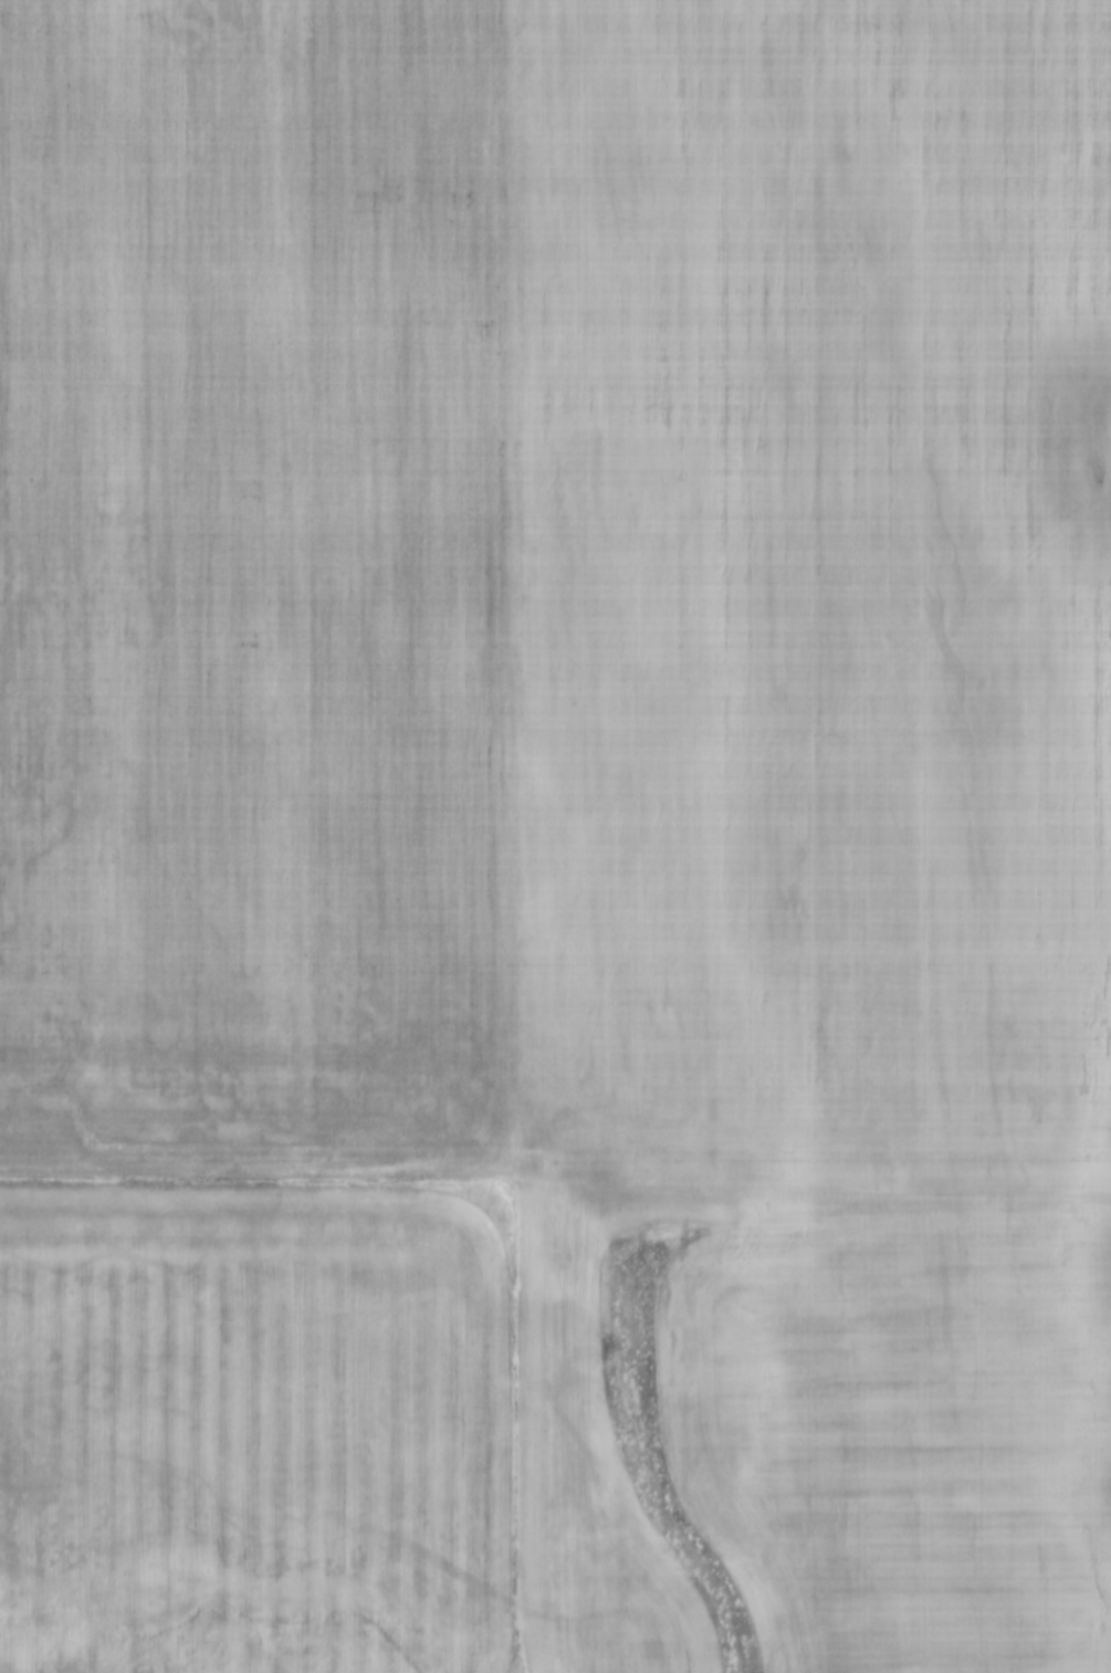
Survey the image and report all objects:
road: (551, 1191)

